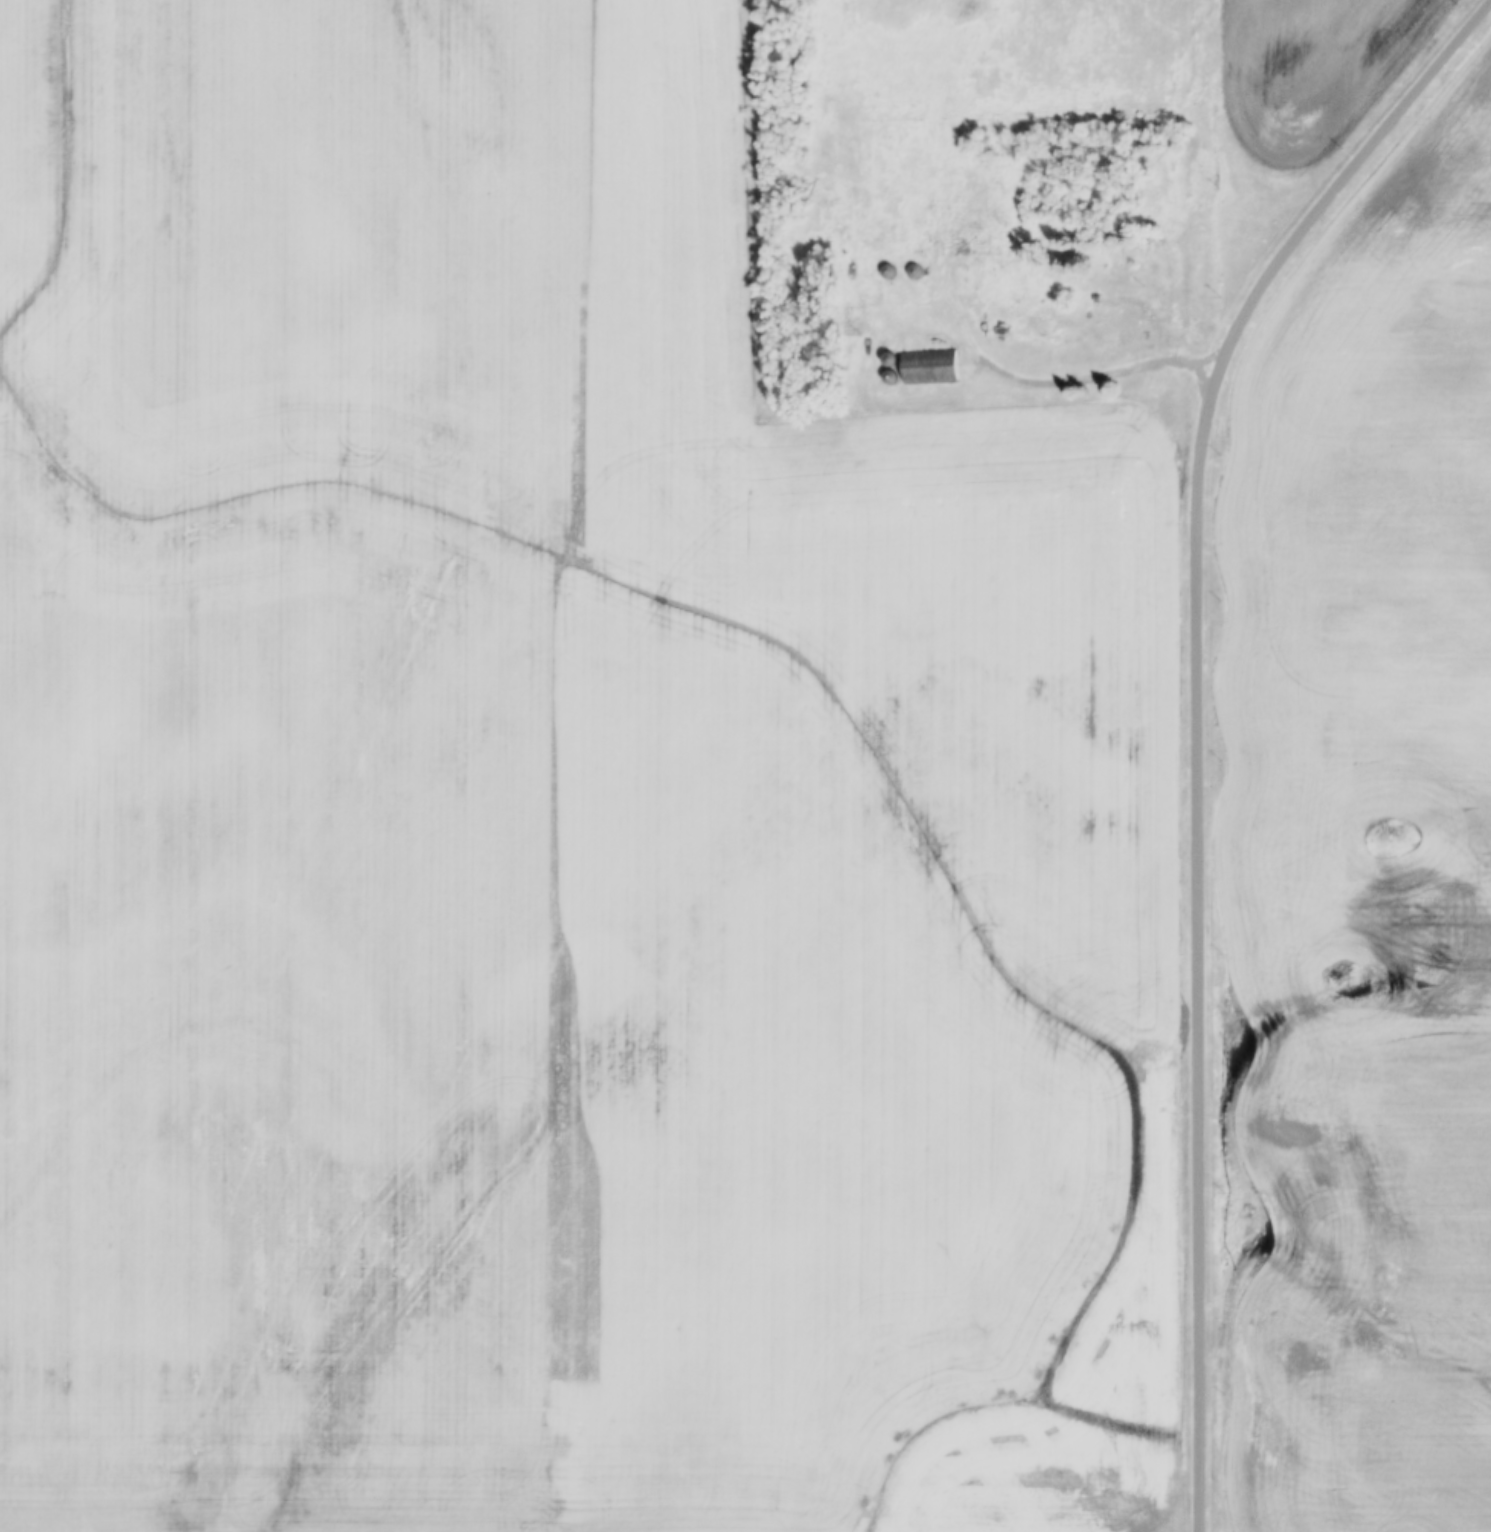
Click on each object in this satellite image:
building: (966, 241)
building: (856, 318)
building: (924, 359)
road: (1062, 382)
road: (1199, 718)

